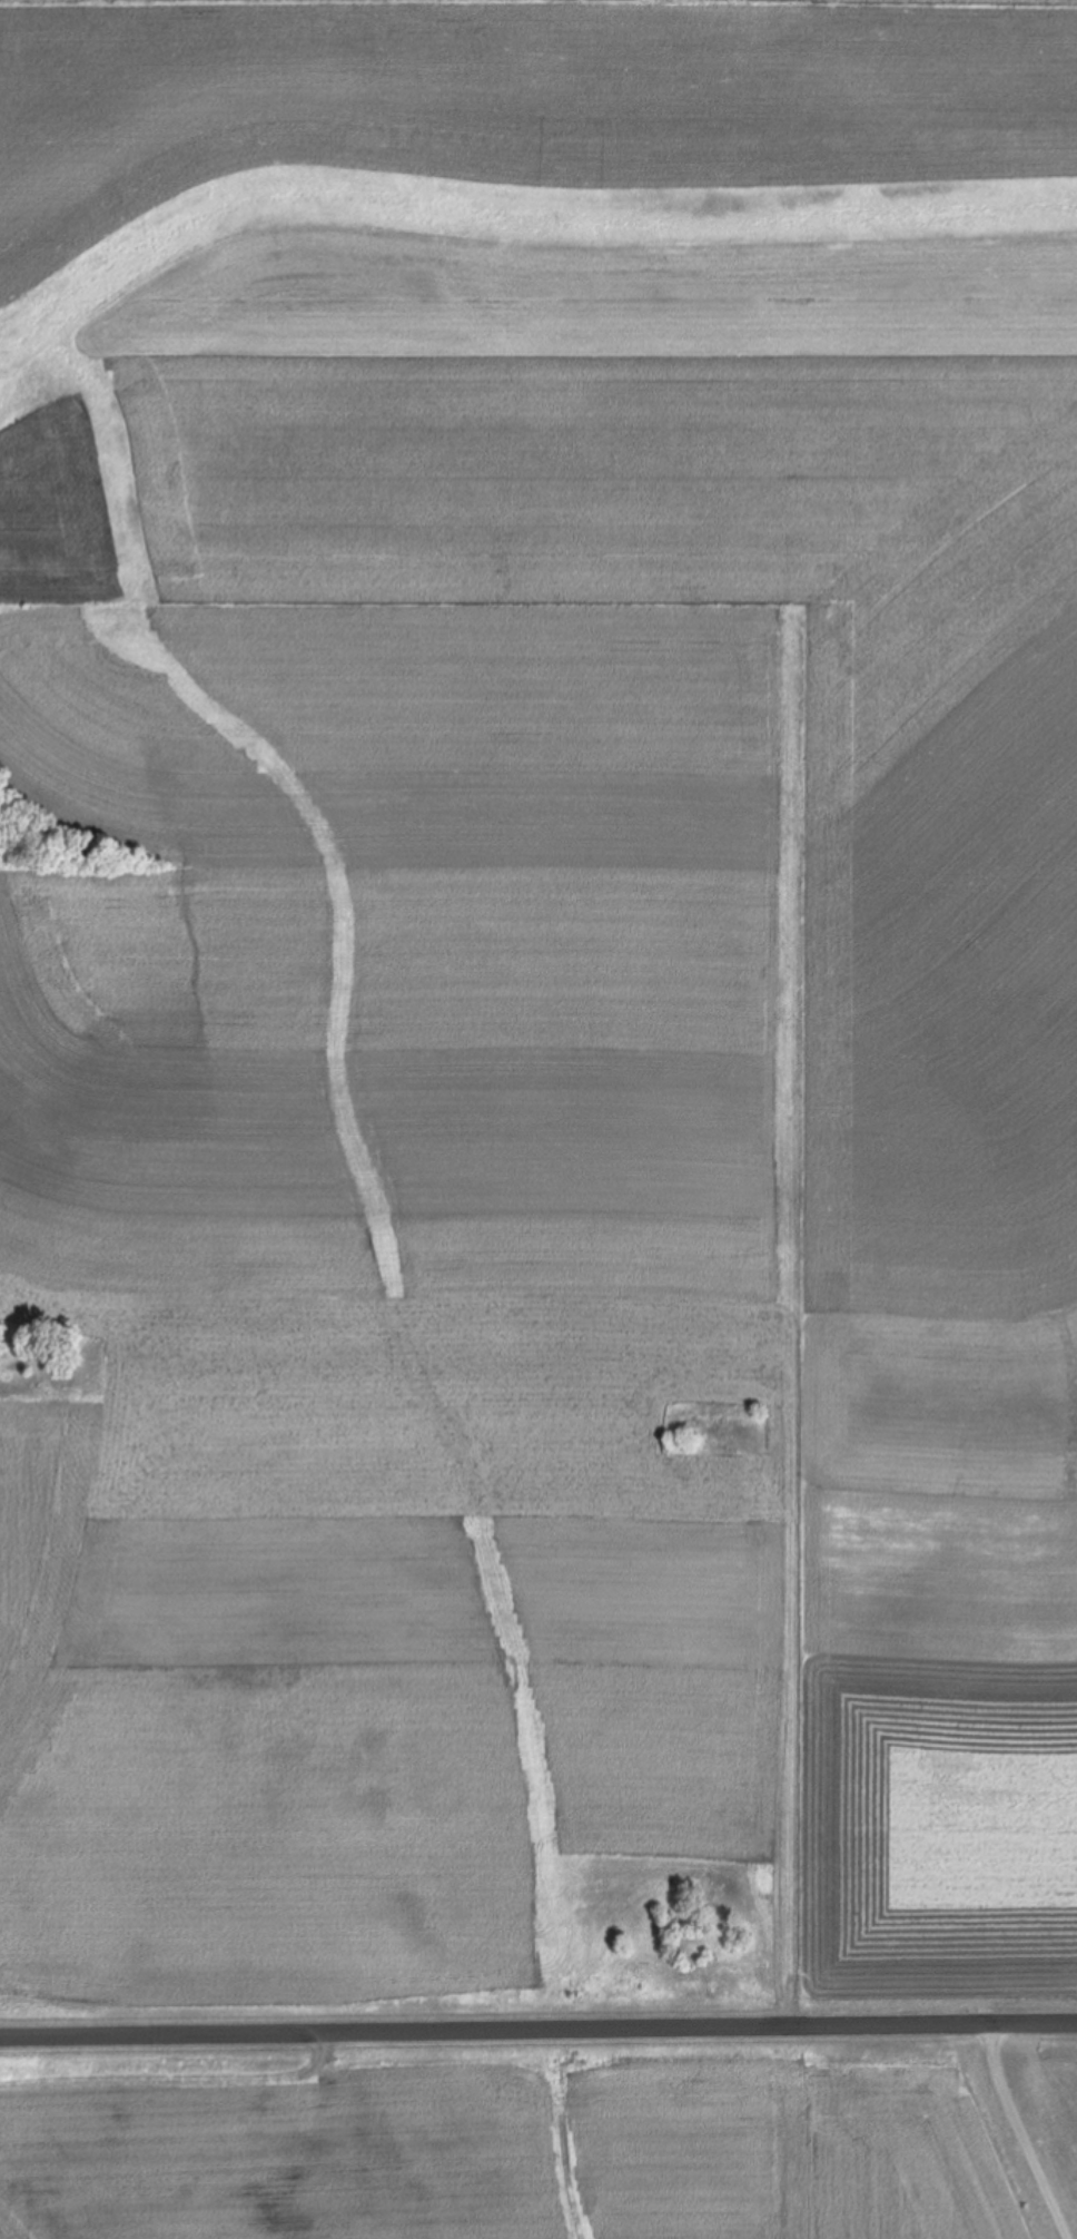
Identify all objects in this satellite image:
road: (537, 2035)
road: (1027, 2134)

